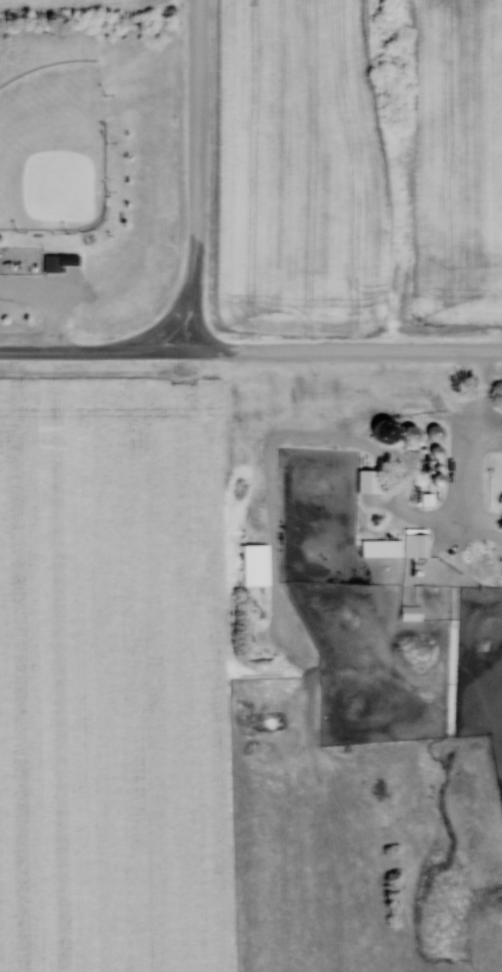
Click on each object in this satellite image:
road: (197, 177)
building: (51, 264)
road: (98, 353)
road: (349, 354)
building: (411, 435)
building: (371, 482)
building: (416, 546)
building: (366, 554)
building: (255, 564)
building: (410, 614)

